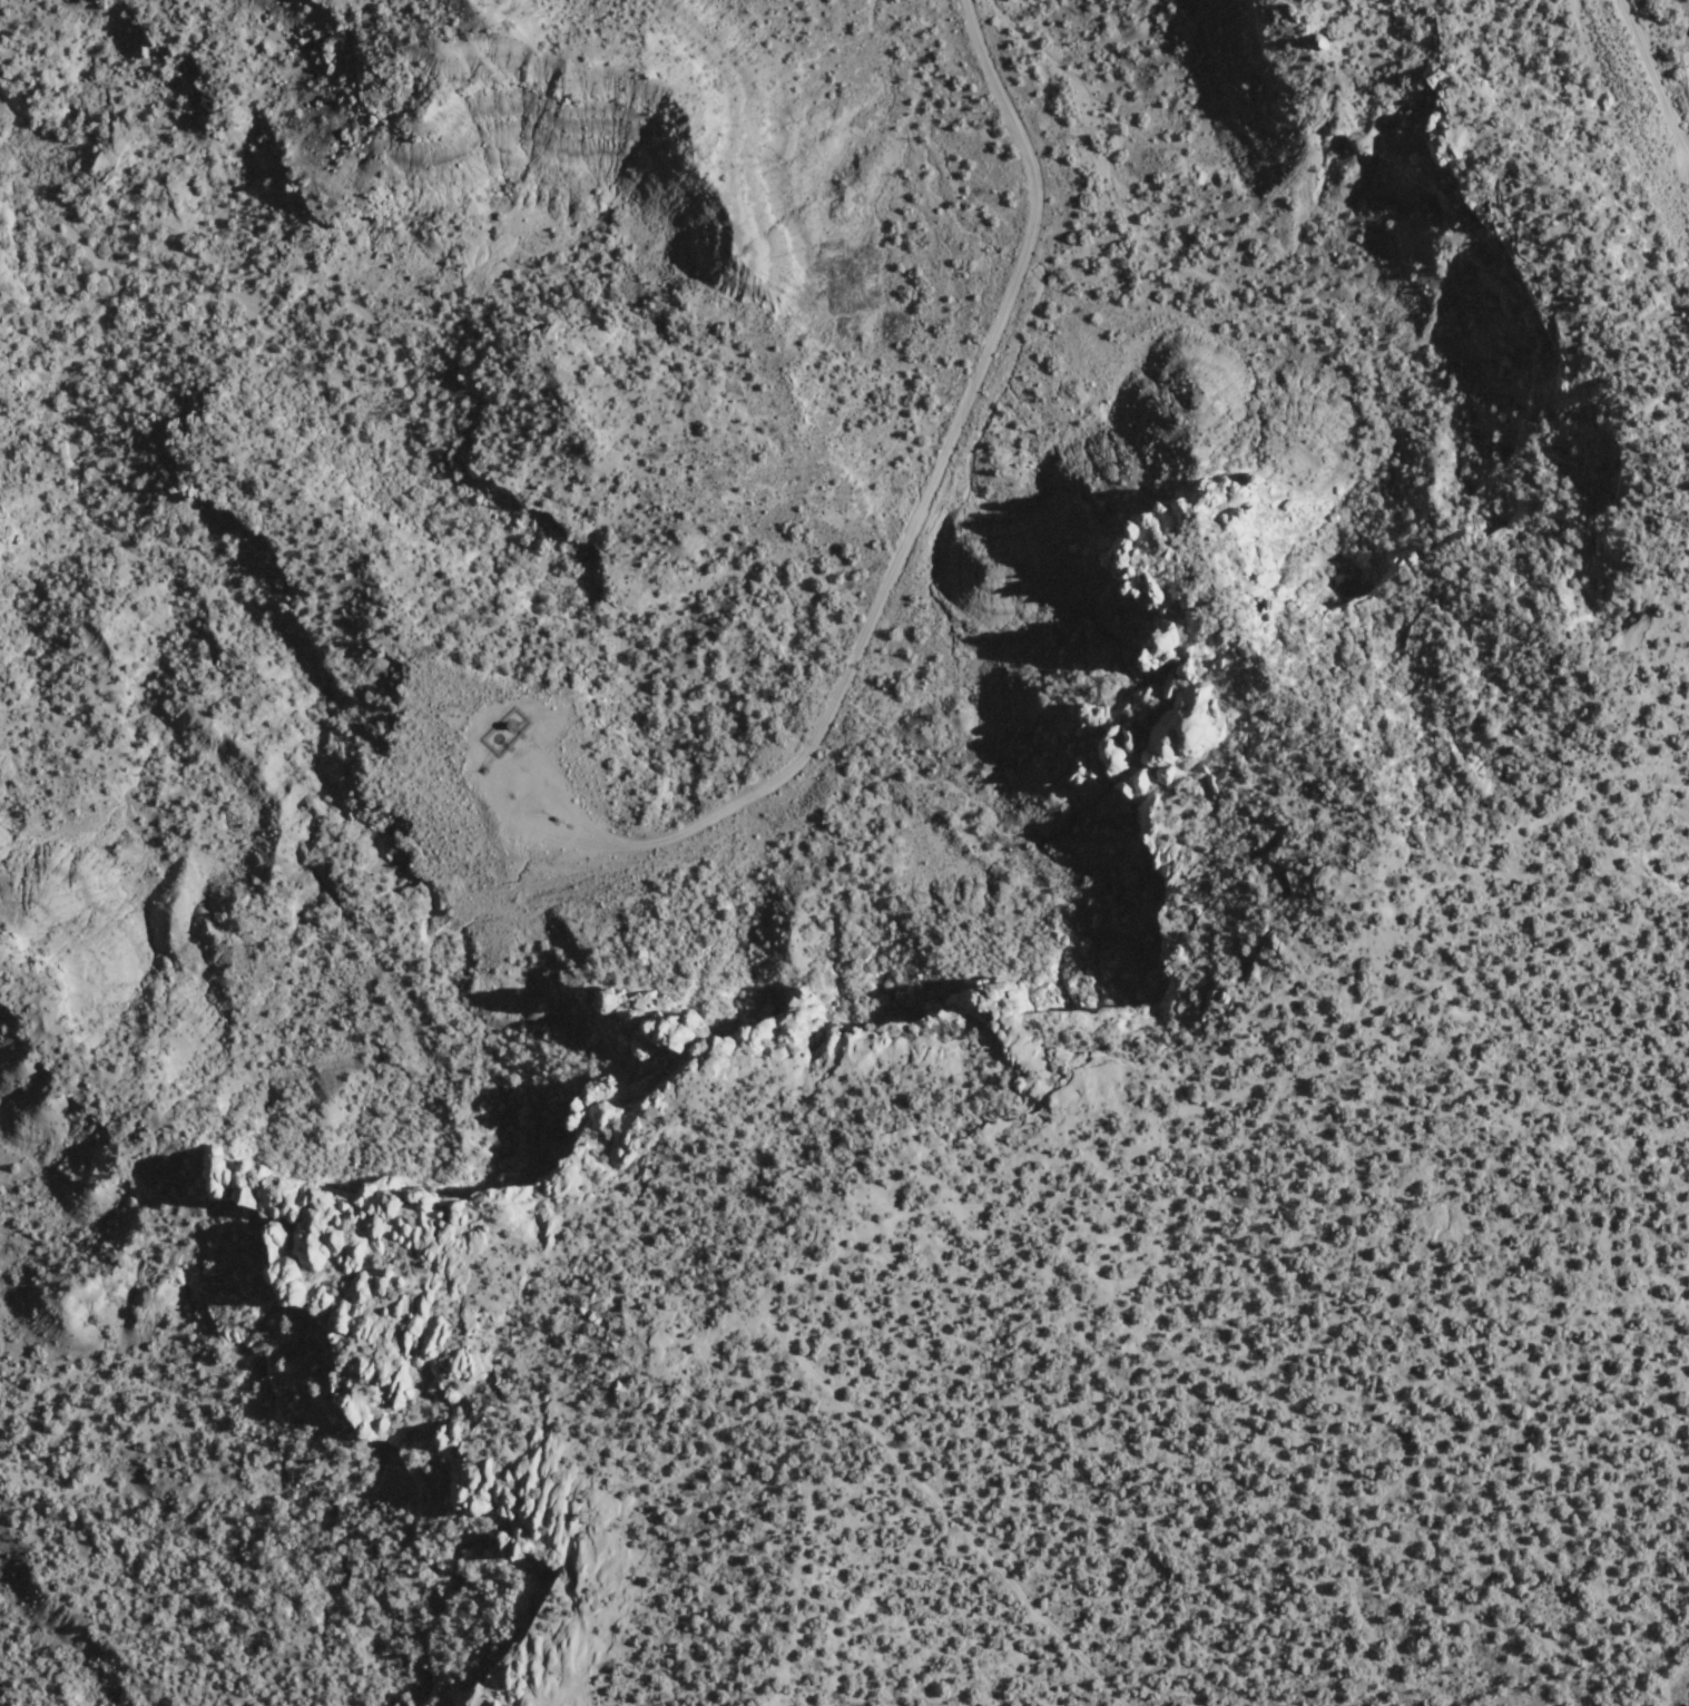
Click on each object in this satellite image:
road: (1622, 151)

